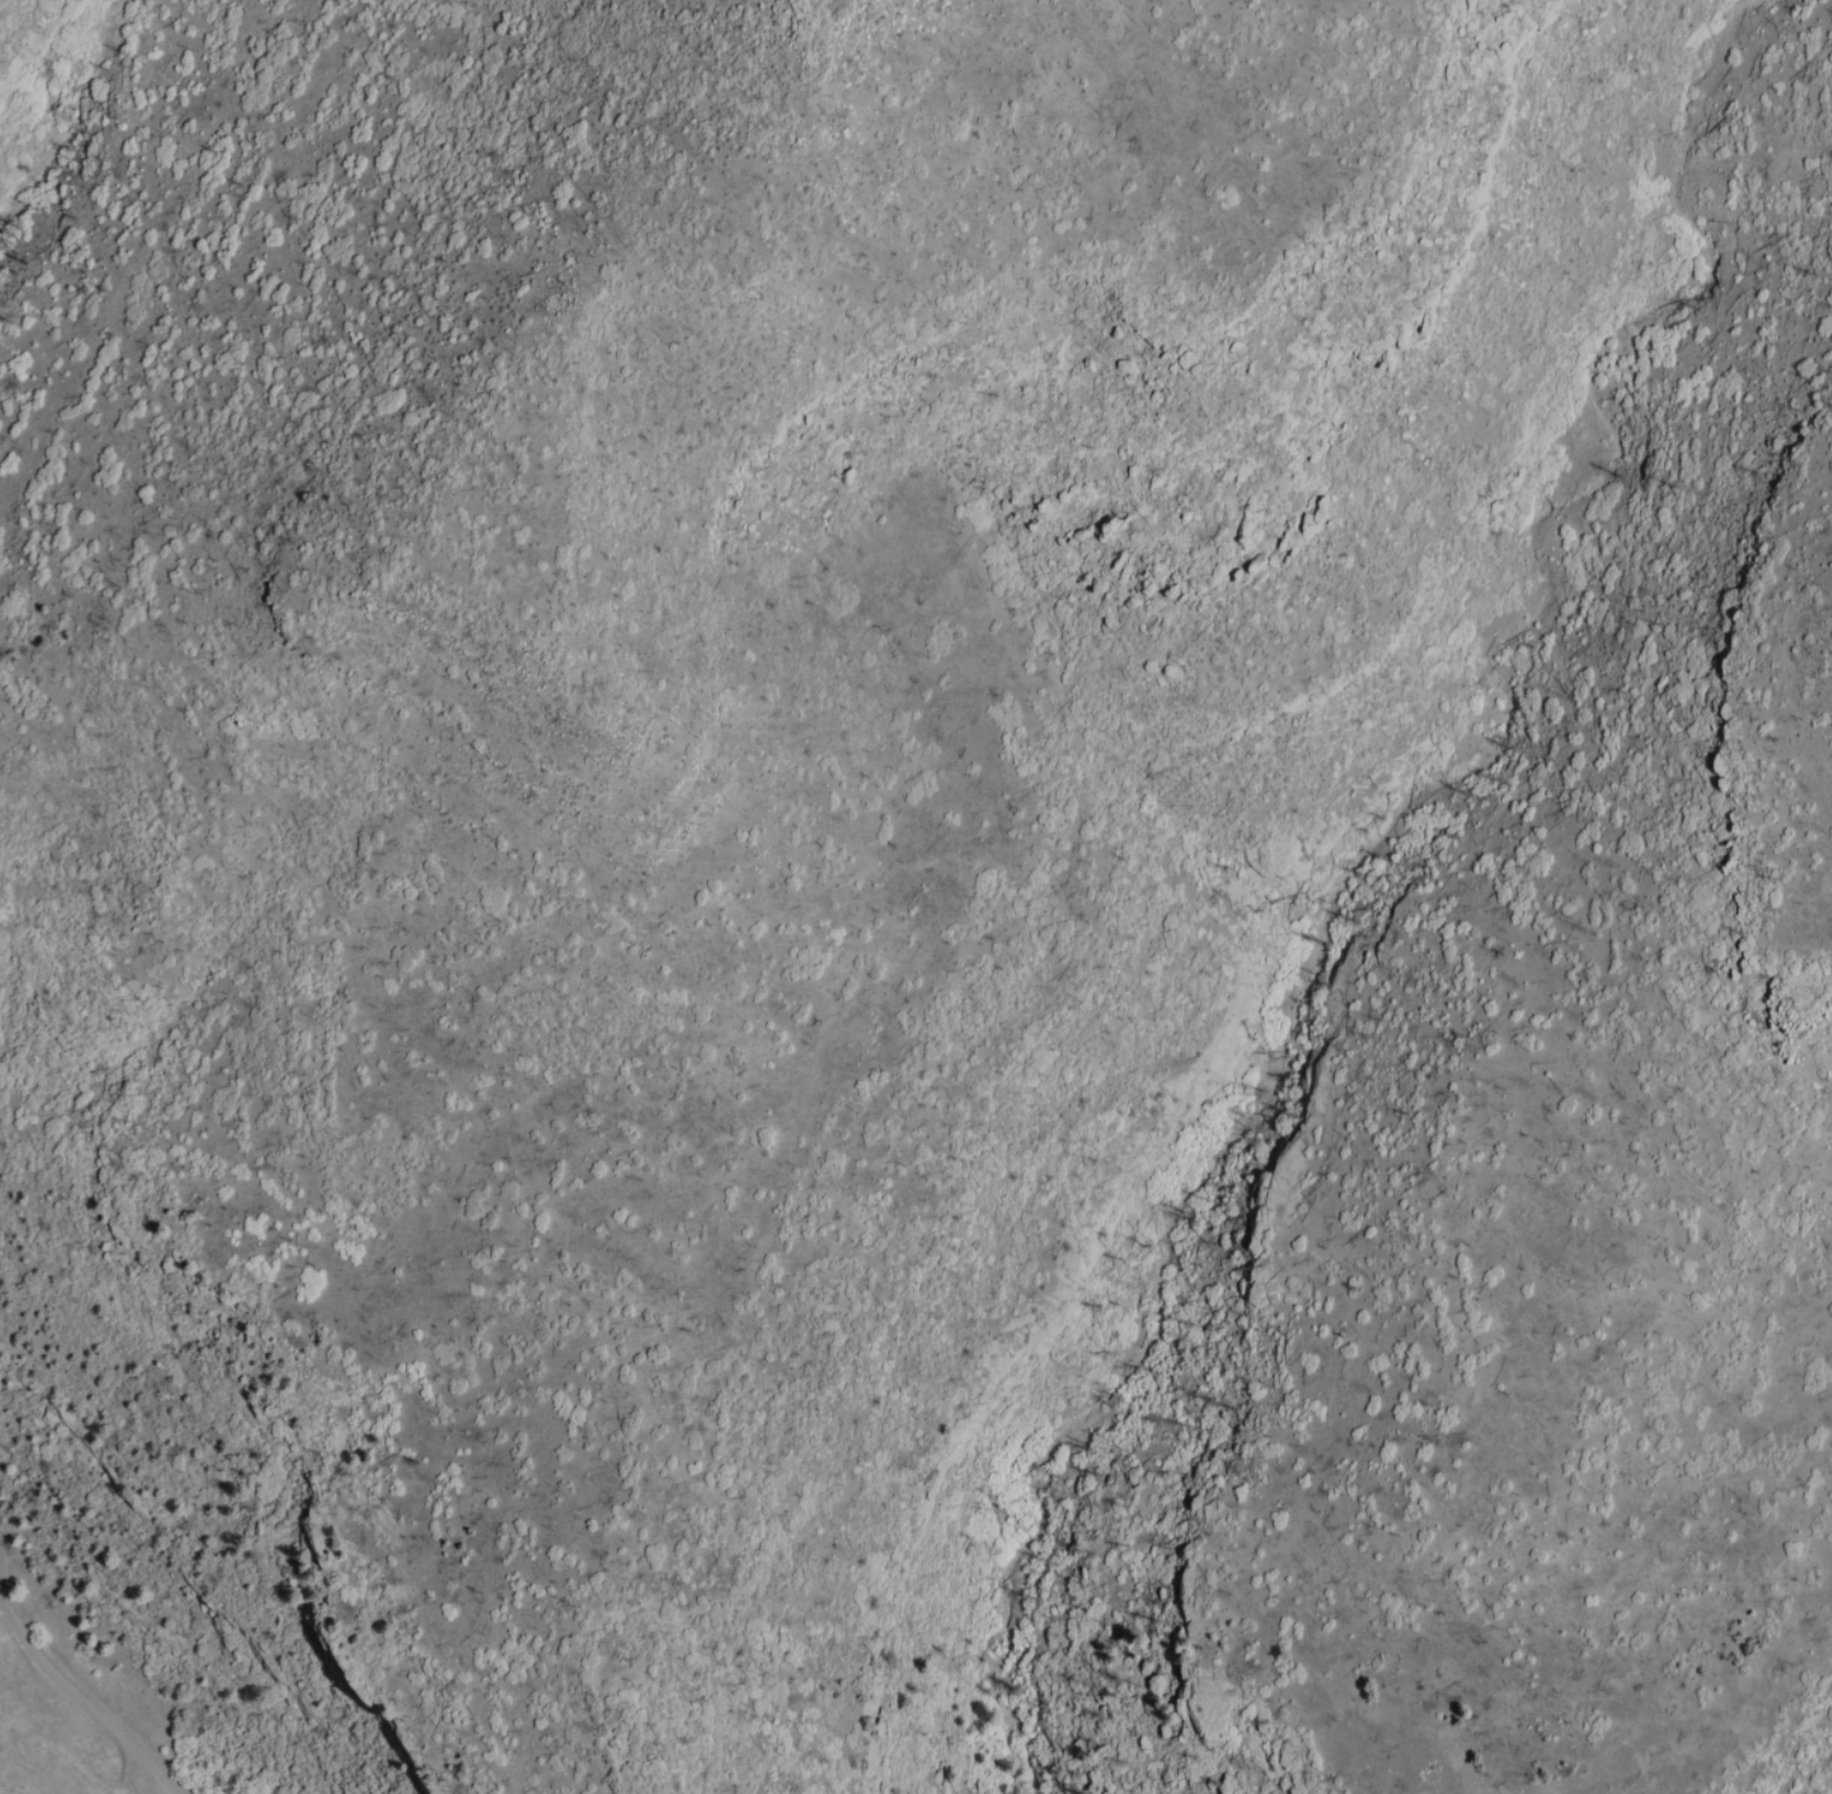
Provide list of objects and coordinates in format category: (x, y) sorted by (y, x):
road: (81, 1699)

